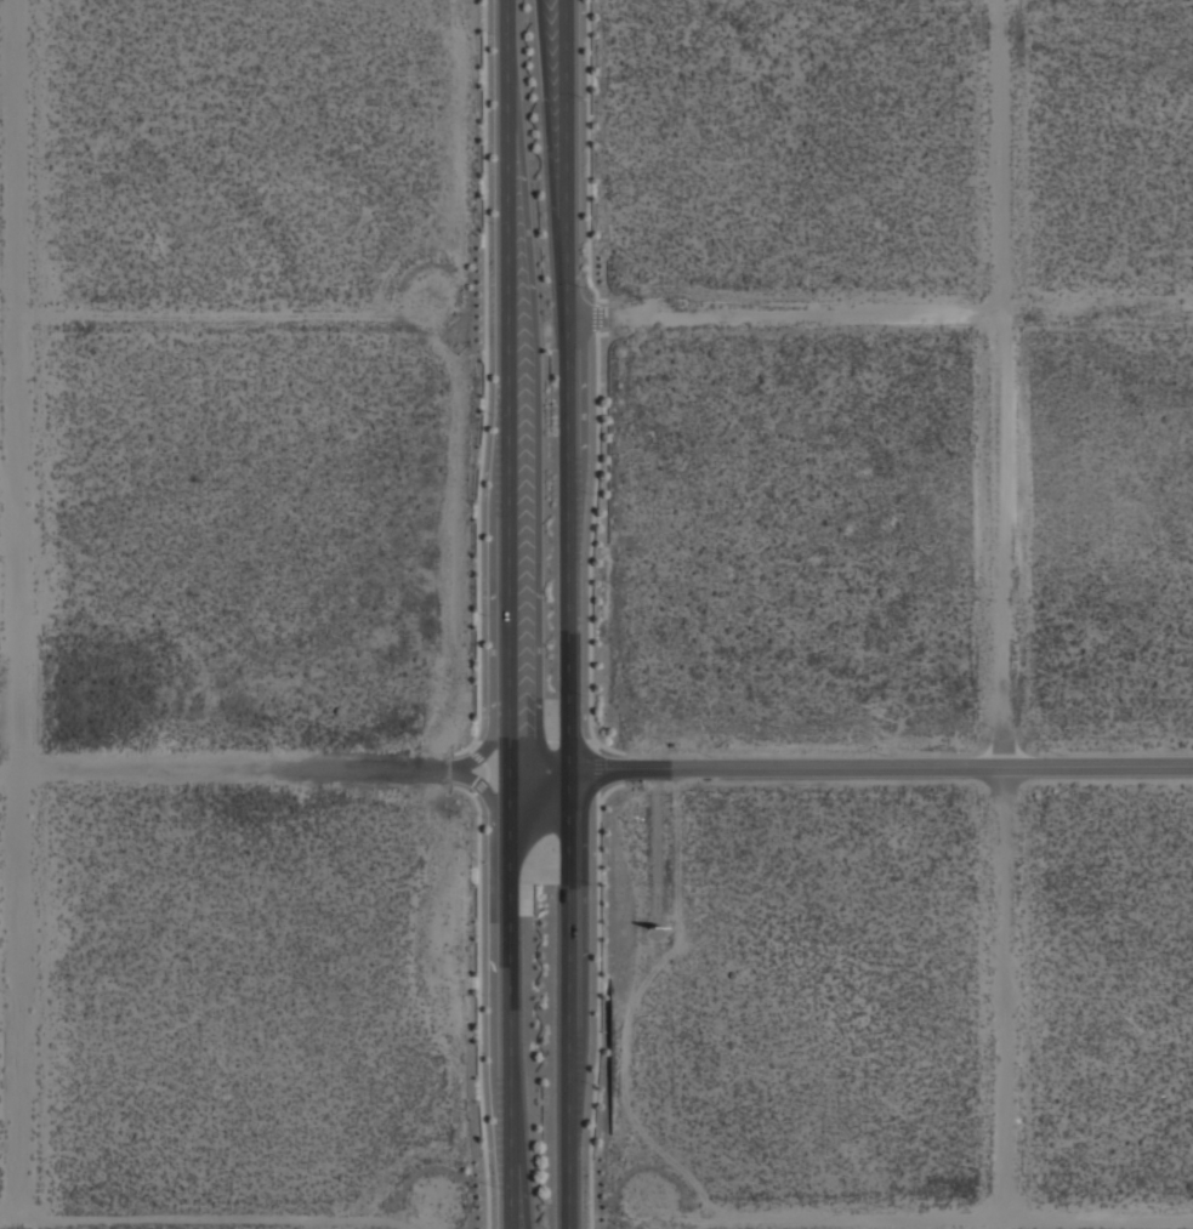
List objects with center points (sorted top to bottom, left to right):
road: (589, 155)
road: (569, 159)
road: (597, 301)
road: (597, 315)
road: (584, 319)
road: (597, 330)
road: (485, 382)
road: (509, 383)
road: (536, 433)
road: (572, 542)
road: (590, 546)
road: (21, 581)
road: (492, 587)
road: (590, 738)
road: (513, 739)
road: (552, 739)
road: (572, 739)
road: (477, 740)
road: (598, 745)
road: (470, 747)
road: (478, 755)
road: (458, 767)
road: (542, 767)
road: (884, 767)
road: (488, 768)
road: (223, 769)
road: (597, 769)
road: (481, 784)
road: (473, 791)
road: (597, 798)
road: (493, 995)
road: (513, 997)
road: (572, 997)
road: (478, 998)
road: (598, 1000)

